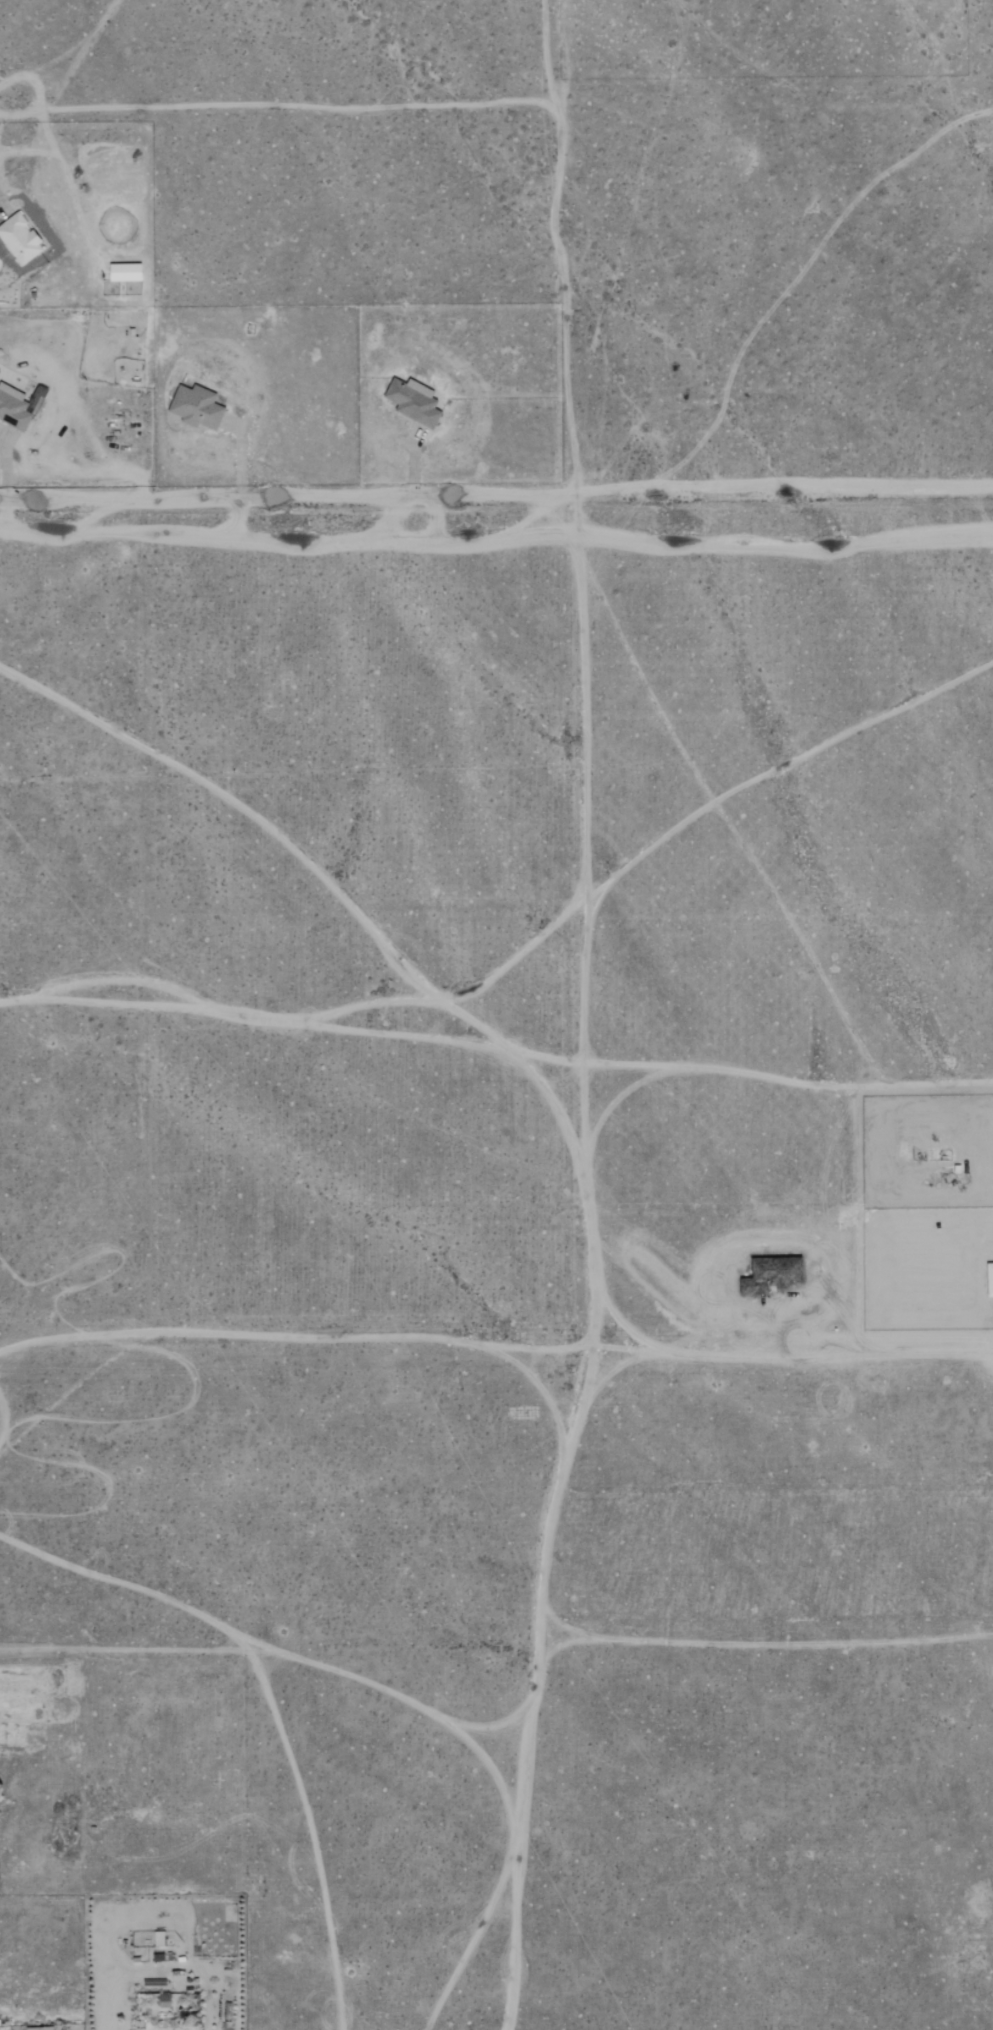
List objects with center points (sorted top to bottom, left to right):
road: (1, 209)
building: (19, 238)
building: (124, 271)
building: (413, 401)
building: (195, 406)
building: (13, 408)
road: (239, 460)
road: (411, 466)
road: (5, 470)
road: (496, 500)
road: (933, 1080)
building: (785, 1272)
building: (989, 1278)
road: (820, 1357)
road: (134, 1649)
building: (39, 2028)

